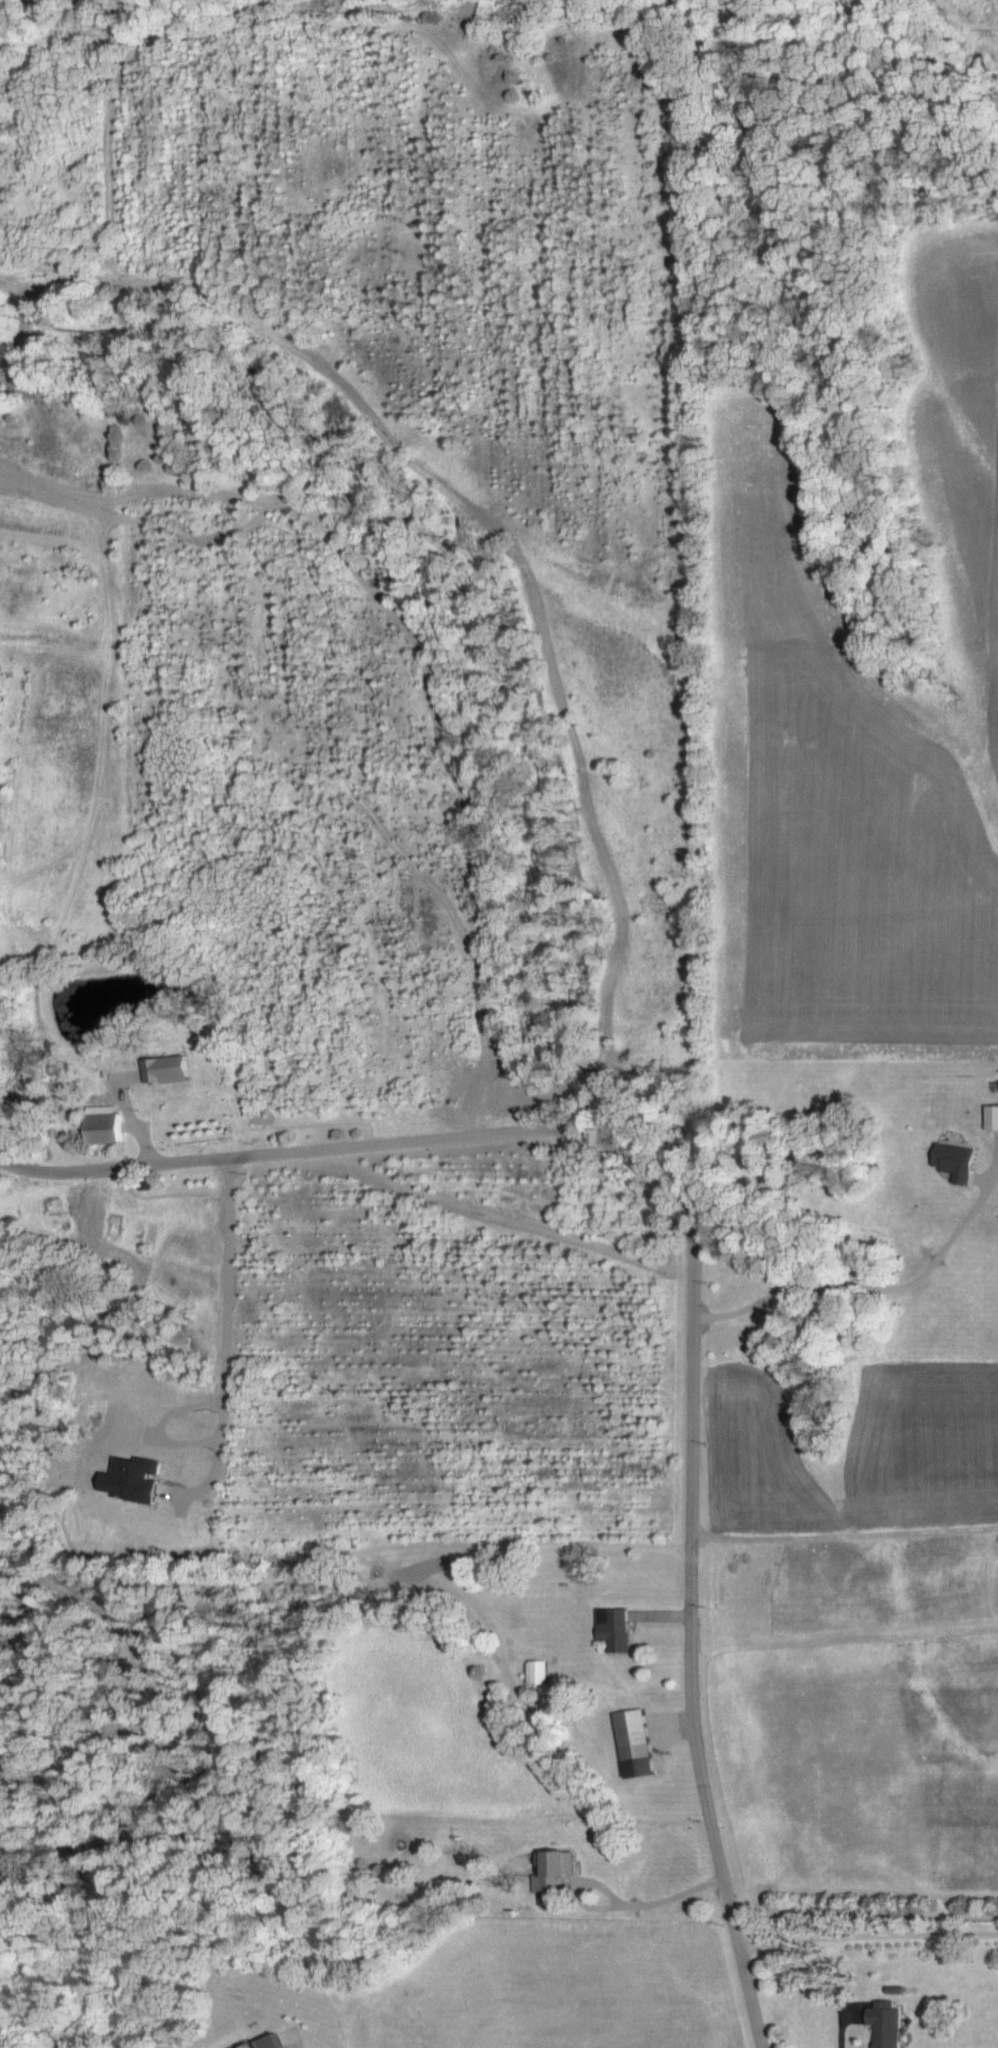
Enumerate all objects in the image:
building: (168, 1069)
building: (993, 1116)
building: (107, 1125)
road: (337, 1146)
building: (957, 1161)
road: (872, 1285)
road: (691, 1614)
building: (615, 1628)
building: (538, 1671)
building: (637, 1742)
road: (620, 1905)
road: (863, 1913)
road: (867, 1934)
building: (886, 2023)
building: (275, 2041)

